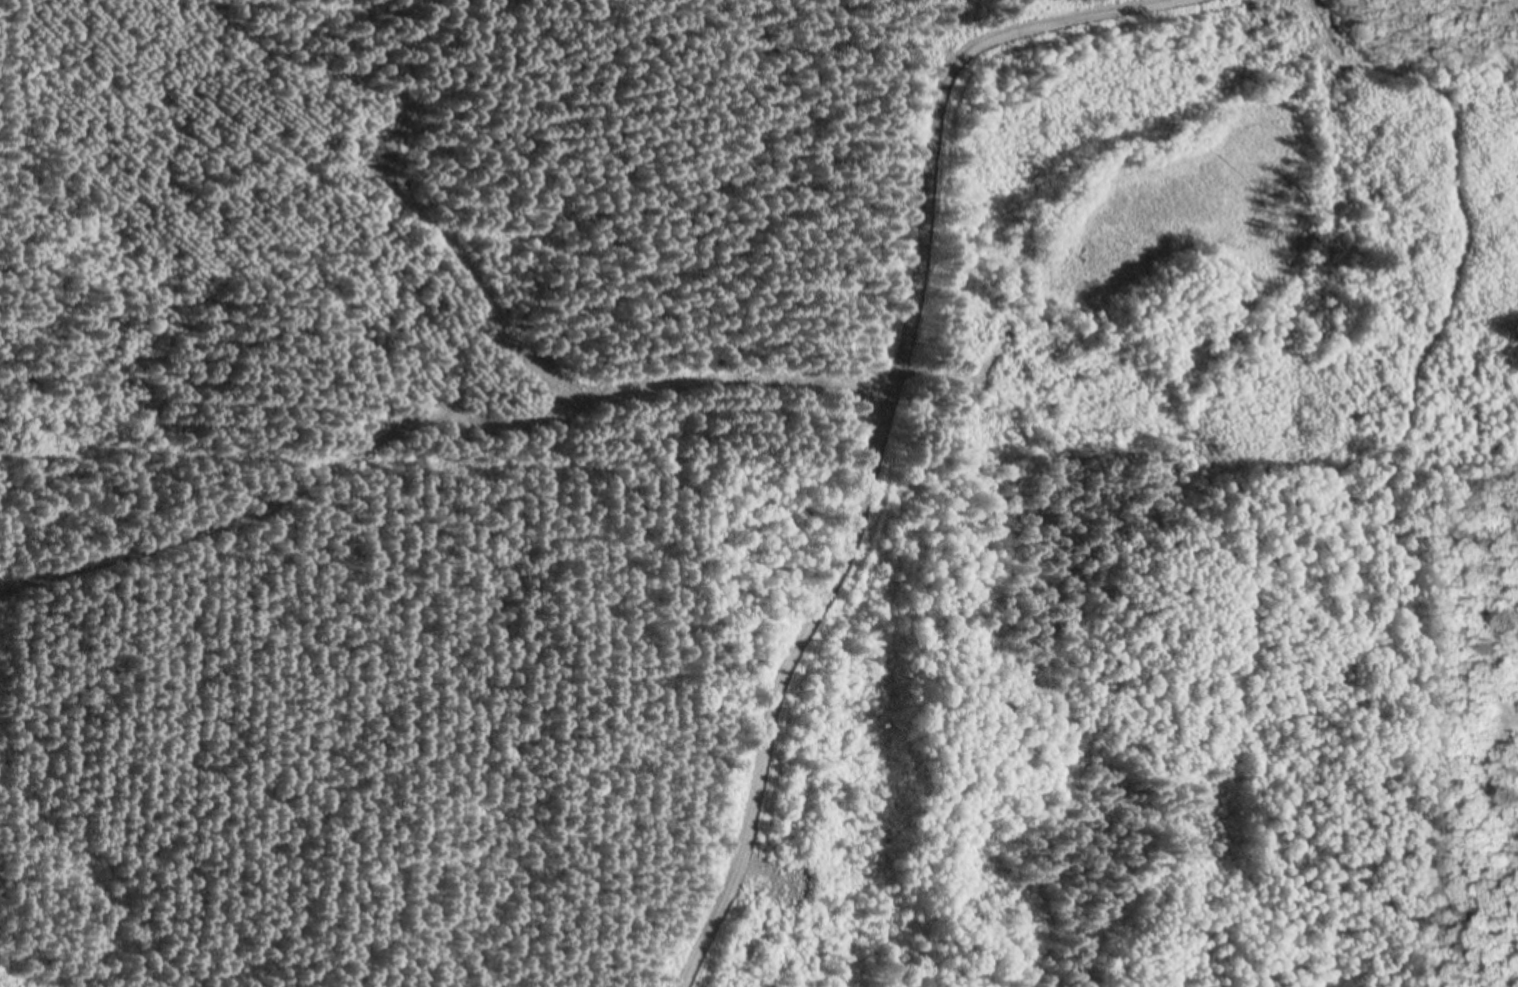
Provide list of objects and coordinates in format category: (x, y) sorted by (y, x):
road: (889, 413)

